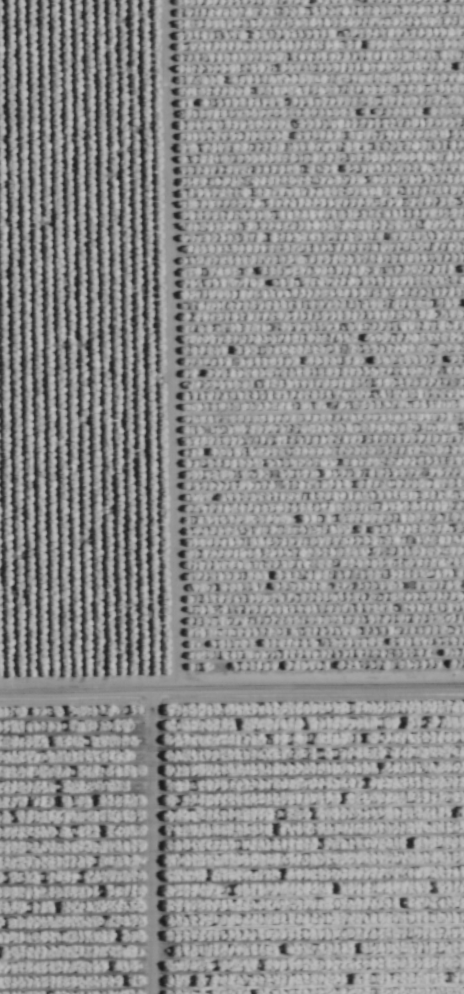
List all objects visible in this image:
crop: (232, 497)
road: (232, 649)

